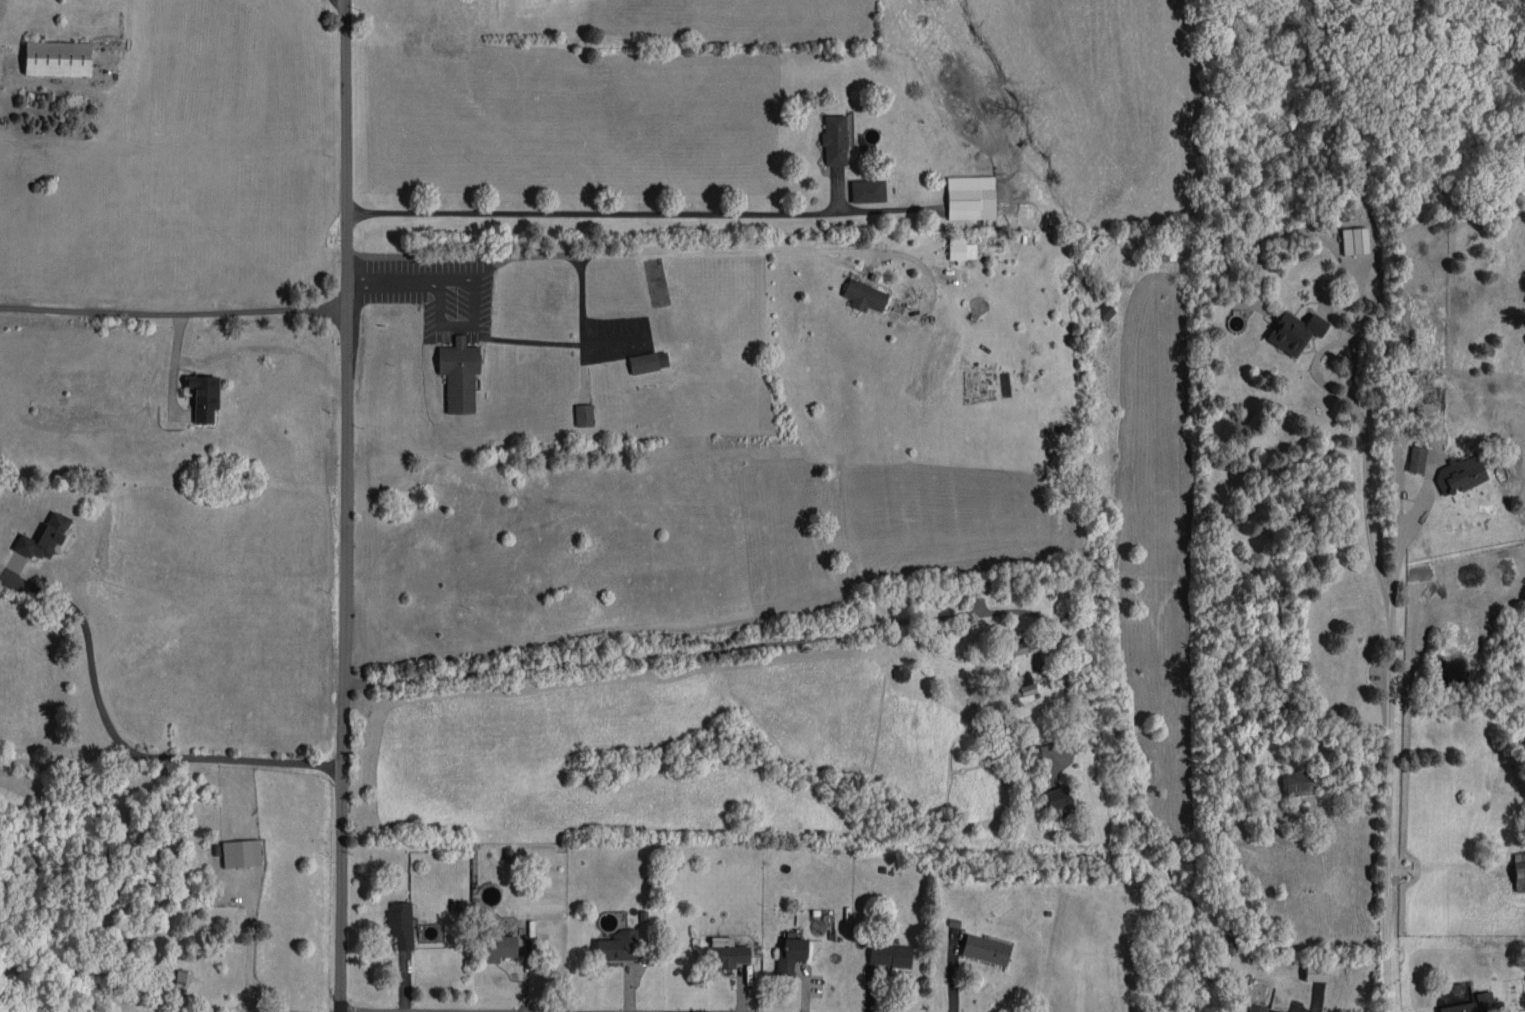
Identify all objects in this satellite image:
road: (343, 1)
building: (57, 58)
building: (834, 140)
building: (867, 190)
building: (970, 197)
road: (641, 208)
building: (1143, 240)
building: (1355, 240)
building: (1098, 242)
building: (961, 249)
road: (722, 251)
road: (530, 252)
road: (387, 277)
building: (864, 295)
road: (172, 309)
building: (1295, 331)
building: (648, 361)
building: (458, 374)
building: (204, 397)
building: (583, 415)
road: (1399, 434)
building: (1417, 459)
building: (1461, 473)
road: (1368, 474)
road: (346, 506)
building: (46, 537)
road: (659, 653)
building: (1023, 694)
road: (122, 746)
building: (1032, 753)
building: (1300, 782)
building: (1057, 797)
road: (1390, 808)
building: (241, 853)
building: (1519, 871)
building: (400, 924)
building: (1228, 937)
building: (497, 945)
building: (617, 945)
road: (246, 947)
building: (985, 948)
building: (724, 953)
building: (790, 954)
building: (889, 954)
building: (1316, 972)
building: (180, 977)
building: (1484, 1001)
building: (1459, 1007)
building: (1257, 1008)

